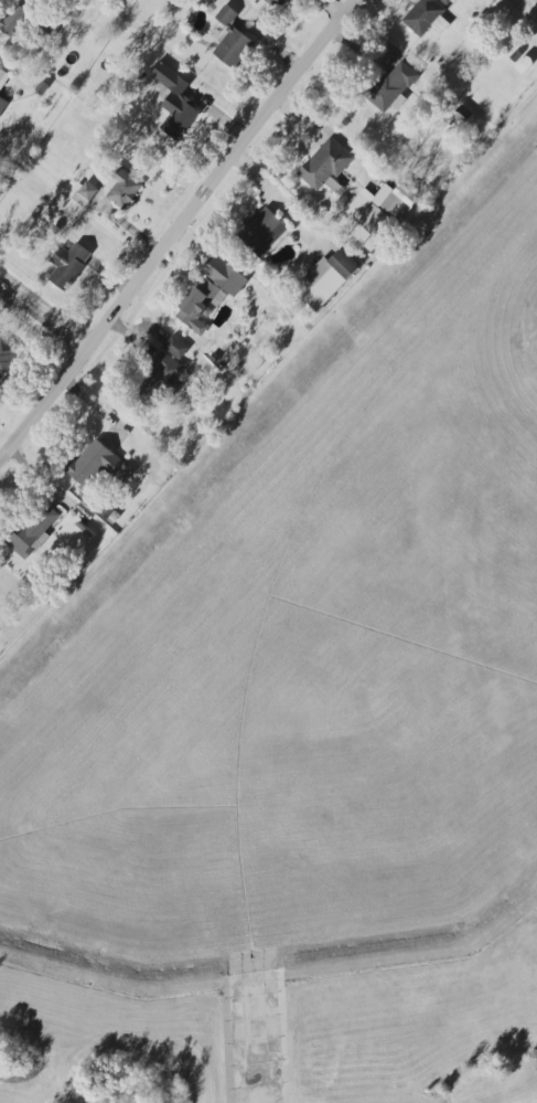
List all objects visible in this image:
road: (534, 1)
building: (275, 3)
building: (425, 15)
building: (13, 19)
building: (440, 25)
building: (232, 40)
building: (3, 77)
building: (393, 86)
building: (175, 103)
building: (2, 104)
building: (325, 165)
building: (121, 188)
building: (86, 194)
building: (382, 208)
road: (179, 230)
building: (262, 233)
building: (68, 265)
building: (229, 279)
building: (329, 279)
building: (201, 306)
road: (46, 317)
building: (176, 348)
building: (7, 356)
building: (160, 381)
building: (98, 466)
building: (32, 531)

